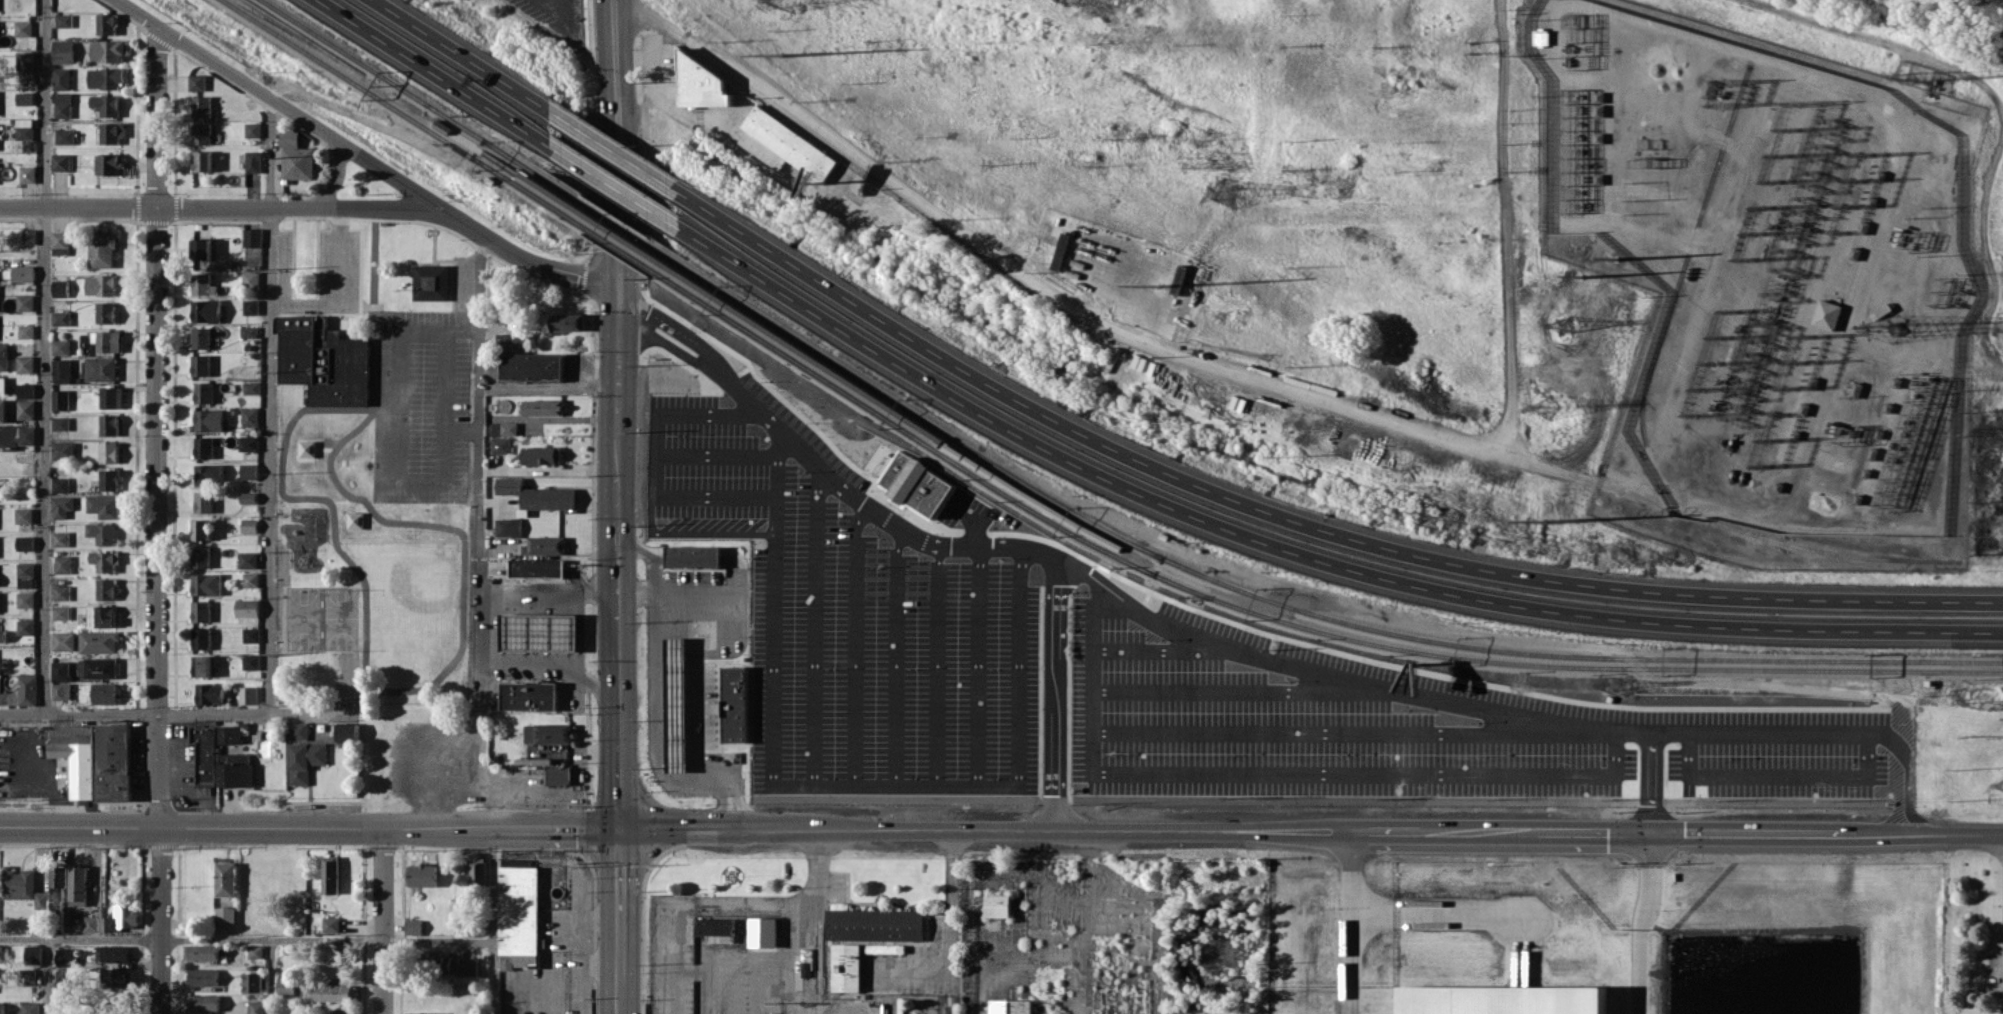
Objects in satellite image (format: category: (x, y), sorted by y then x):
power tower: (790, 1)
road: (545, 6)
building: (60, 20)
building: (102, 23)
parking lot: (549, 26)
building: (19, 28)
building: (1541, 37)
building: (103, 50)
building: (59, 51)
power tower: (779, 54)
building: (21, 60)
railway: (372, 68)
road: (615, 68)
railway: (351, 77)
building: (57, 78)
building: (102, 78)
building: (193, 82)
building: (696, 83)
building: (21, 98)
road: (276, 103)
building: (103, 104)
road: (1996, 104)
building: (198, 106)
building: (59, 109)
building: (21, 129)
building: (249, 129)
building: (109, 133)
building: (198, 133)
building: (61, 136)
building: (778, 144)
building: (292, 157)
building: (199, 160)
building: (249, 161)
building: (58, 162)
building: (106, 164)
railway: (521, 168)
building: (24, 174)
road: (334, 176)
power tower: (1213, 191)
road: (220, 208)
road: (1504, 226)
building: (26, 236)
building: (250, 237)
building: (58, 239)
building: (100, 248)
building: (198, 248)
power tower: (1586, 249)
power substation: (1761, 255)
building: (1053, 260)
road: (521, 261)
building: (218, 264)
road: (615, 271)
building: (21, 273)
building: (248, 278)
building: (428, 282)
building: (201, 284)
building: (99, 285)
power tower: (1156, 285)
traffic signals: (615, 287)
building: (59, 288)
road: (336, 290)
building: (23, 302)
road: (268, 304)
building: (249, 307)
building: (205, 310)
road: (615, 311)
building: (105, 312)
building: (1825, 314)
building: (59, 317)
power tower: (1564, 320)
building: (564, 321)
road: (1107, 325)
road: (671, 328)
building: (24, 331)
building: (247, 331)
road: (628, 334)
traffic signals: (616, 335)
building: (201, 337)
building: (106, 340)
building: (509, 340)
building: (60, 346)
railway: (819, 352)
railway: (819, 352)
road: (681, 354)
road: (43, 356)
building: (3, 357)
building: (323, 361)
building: (24, 364)
building: (200, 365)
building: (530, 366)
building: (100, 368)
railway: (810, 368)
railway: (809, 369)
road: (1984, 369)
building: (61, 370)
road: (616, 380)
building: (2, 384)
road: (547, 386)
building: (251, 387)
road: (731, 389)
building: (25, 390)
building: (203, 392)
building: (111, 397)
building: (60, 399)
building: (542, 406)
power tower: (1546, 408)
building: (25, 409)
road: (701, 409)
building: (3, 410)
road: (478, 413)
building: (249, 416)
building: (208, 419)
building: (60, 423)
building: (109, 425)
building: (504, 428)
road: (460, 429)
building: (16, 437)
building: (248, 443)
building: (500, 445)
building: (206, 446)
building: (63, 450)
building: (109, 452)
building: (541, 455)
road: (713, 455)
road: (1133, 459)
road: (394, 466)
road: (654, 468)
building: (249, 471)
building: (209, 473)
road: (1104, 478)
building: (110, 479)
building: (912, 482)
building: (60, 484)
road: (713, 493)
building: (538, 494)
road: (848, 494)
building: (248, 498)
road: (616, 501)
building: (204, 502)
building: (105, 505)
building: (62, 506)
building: (24, 515)
road: (156, 519)
power tower: (1543, 520)
building: (249, 525)
building: (508, 527)
road: (838, 527)
building: (201, 529)
road: (713, 529)
building: (103, 533)
building: (60, 538)
building: (26, 543)
building: (547, 545)
road: (1018, 547)
building: (694, 556)
building: (201, 557)
building: (249, 559)
building: (106, 560)
building: (63, 564)
building: (537, 568)
building: (26, 570)
building: (251, 579)
building: (207, 584)
building: (106, 589)
building: (62, 592)
road: (548, 595)
building: (26, 599)
building: (0, 602)
building: (248, 608)
building: (201, 611)
building: (62, 612)
park: (322, 615)
building: (102, 616)
road: (771, 616)
park: (381, 617)
building: (26, 627)
building: (540, 631)
building: (252, 634)
building: (3, 635)
building: (202, 638)
building: (64, 641)
building: (99, 641)
road: (815, 648)
road: (1160, 649)
railway: (1575, 653)
building: (251, 661)
road: (536, 661)
road: (854, 661)
railway: (1573, 664)
building: (202, 665)
building: (101, 667)
road: (975, 667)
road: (1018, 667)
parking lot: (1130, 668)
building: (61, 671)
road: (895, 674)
road: (1094, 677)
road: (936, 680)
power tower: (1609, 685)
road: (601, 686)
building: (28, 689)
building: (62, 690)
road: (1245, 692)
building: (105, 693)
building: (211, 693)
road: (480, 694)
building: (530, 695)
road: (1055, 695)
building: (249, 696)
building: (4, 698)
road: (617, 701)
building: (677, 703)
building: (735, 704)
road: (1481, 708)
road: (178, 713)
road: (657, 724)
building: (299, 731)
road: (1349, 731)
building: (348, 732)
building: (548, 733)
building: (229, 734)
building: (96, 759)
building: (305, 760)
building: (217, 762)
building: (559, 774)
road: (1498, 774)
road: (1649, 782)
road: (894, 785)
road: (1903, 804)
road: (492, 809)
traffic signals: (618, 826)
road: (664, 826)
road: (246, 827)
road: (556, 827)
road: (724, 827)
road: (895, 829)
road: (1527, 833)
traffic signals: (1650, 833)
building: (330, 874)
building: (423, 874)
building: (478, 874)
building: (58, 876)
building: (225, 878)
building: (78, 885)
building: (23, 887)
road: (617, 903)
building: (998, 905)
road: (1436, 912)
building: (225, 916)
building: (519, 916)
building: (119, 918)
road: (383, 921)
road: (494, 921)
road: (1079, 922)
building: (90, 923)
building: (873, 923)
road: (1355, 923)
road: (1642, 923)
building: (330, 924)
building: (413, 926)
building: (714, 926)
road: (583, 927)
building: (762, 931)
road: (951, 934)
road: (246, 940)
building: (885, 948)
building: (255, 951)
building: (202, 952)
building: (33, 953)
building: (113, 953)
road: (791, 954)
building: (66, 956)
building: (846, 967)
building: (26, 976)
road: (49, 976)
building: (203, 976)
building: (116, 977)
road: (270, 977)
building: (253, 981)
building: (65, 984)
building: (286, 986)
building: (328, 992)
road: (615, 997)
building: (1503, 999)
building: (204, 1002)
railway: (933, 1006)
building: (2, 1007)
building: (29, 1007)
building: (256, 1007)
railway: (898, 1007)
building: (1012, 1007)
building: (342, 1011)
building: (423, 1013)

